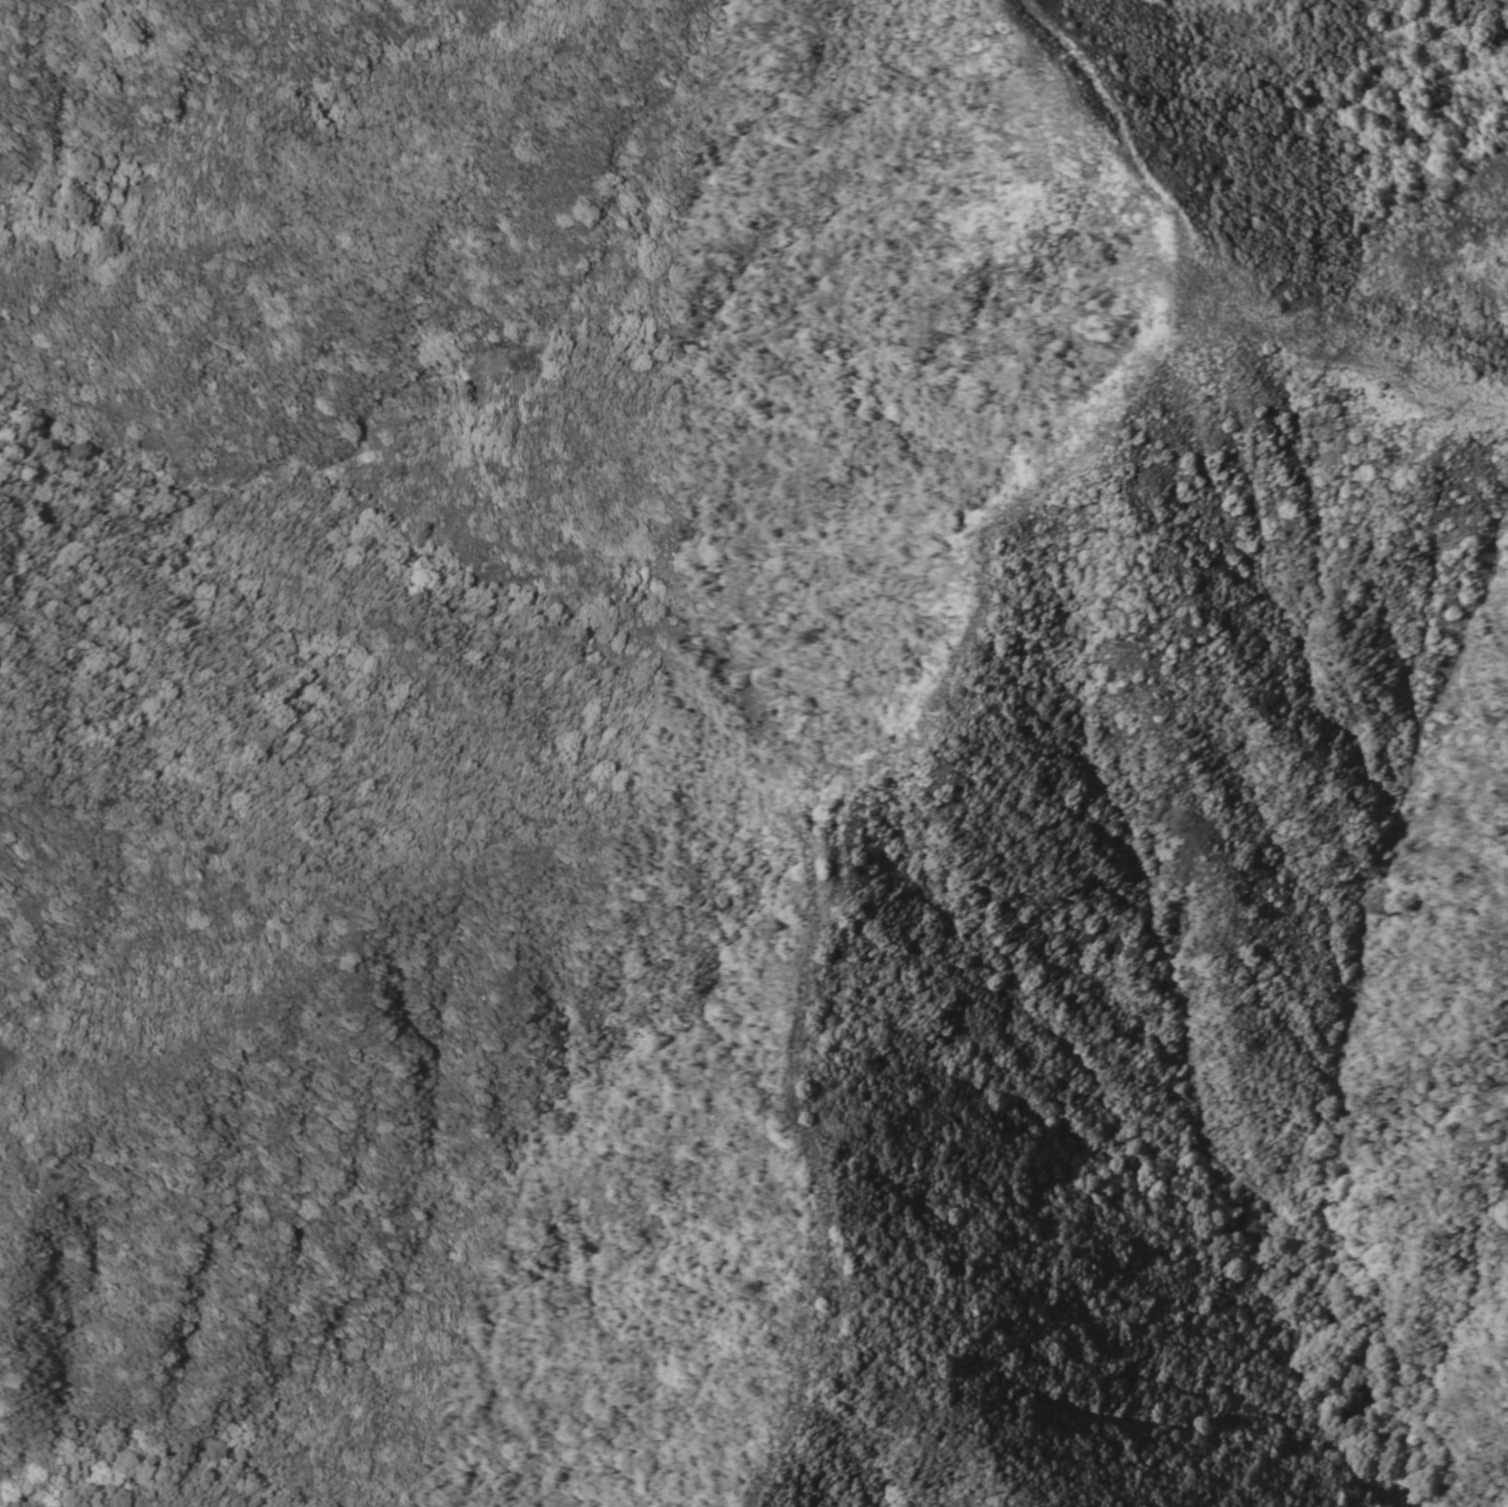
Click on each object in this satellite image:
road: (175, 446)
road: (921, 723)
road: (292, 1240)

